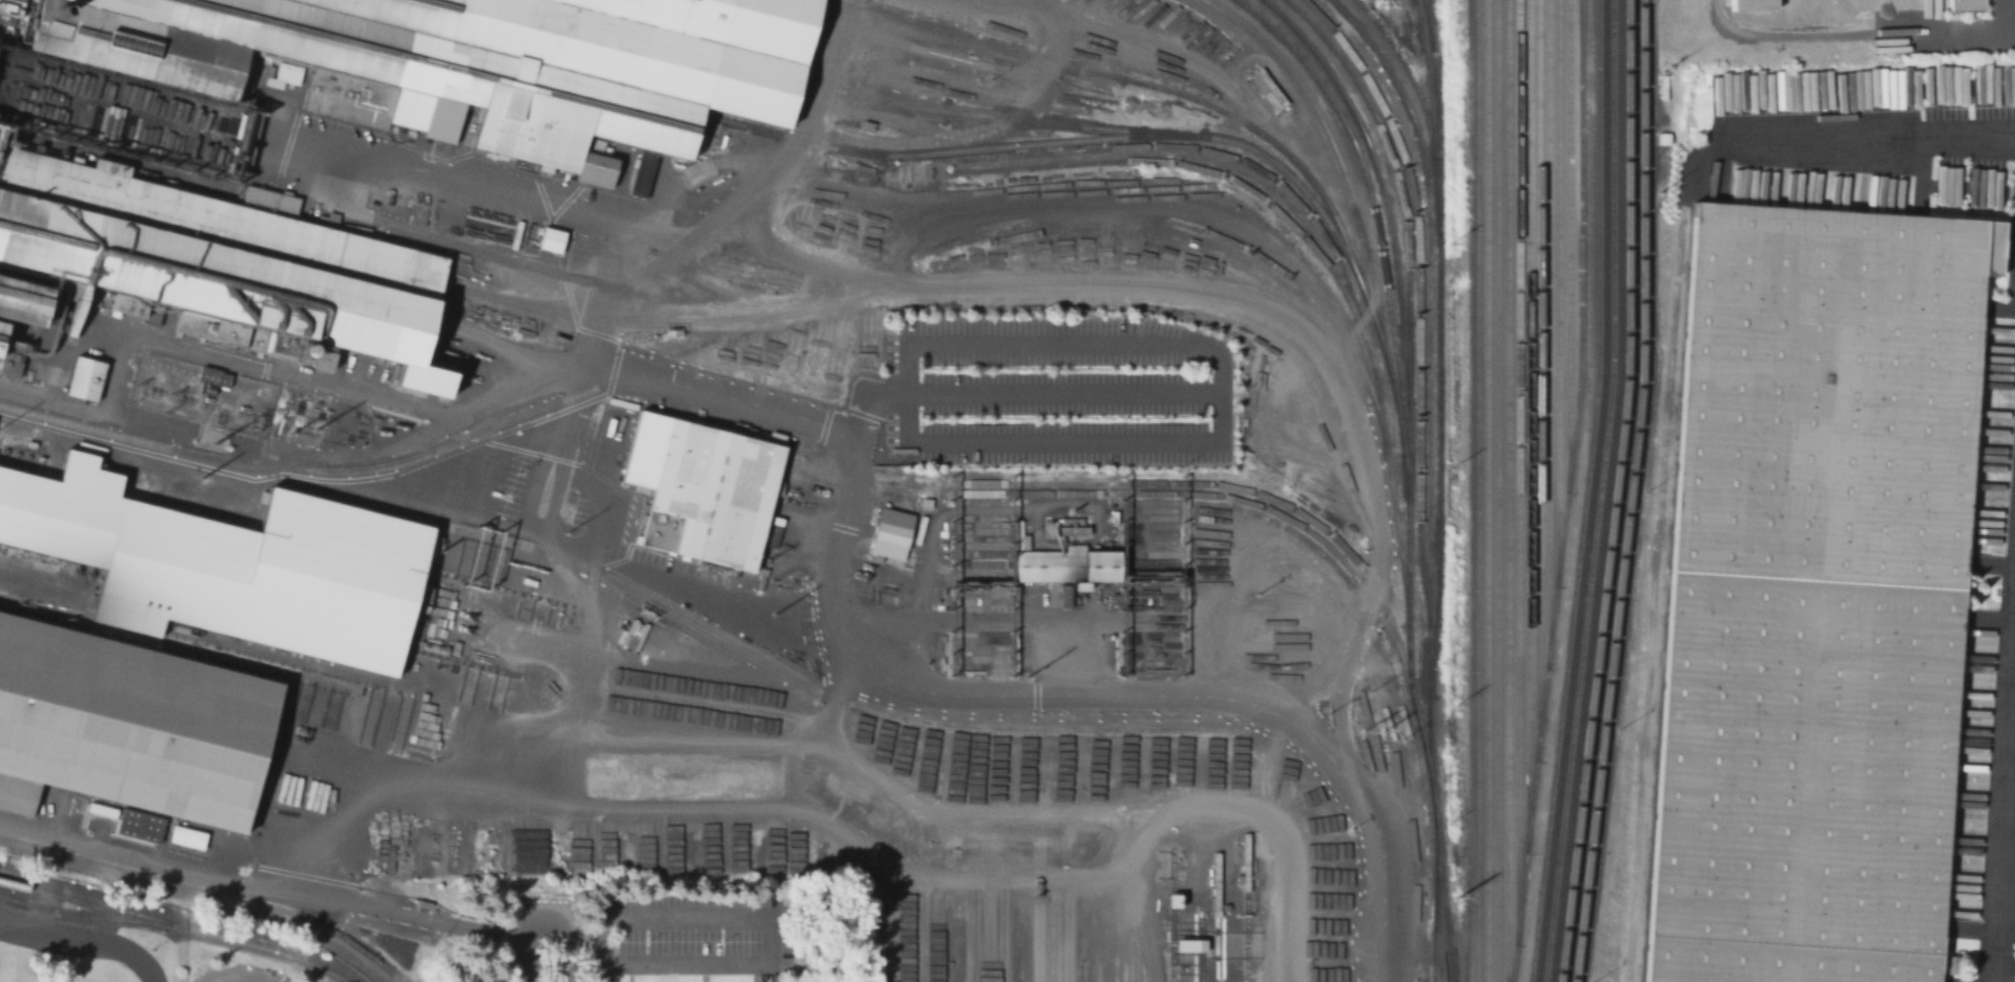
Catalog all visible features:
building: (1747, 4)
building: (1961, 6)
railway: (1426, 25)
railway: (970, 49)
building: (477, 59)
road: (978, 68)
railway: (1179, 95)
railway: (1421, 108)
building: (412, 110)
railway: (964, 120)
building: (446, 122)
railway: (1115, 129)
road: (1871, 137)
railway: (841, 151)
building: (641, 174)
railway: (1216, 175)
road: (758, 179)
railway: (1378, 182)
road: (483, 189)
road: (1027, 210)
railway: (1373, 221)
railway: (1358, 232)
railway: (1319, 233)
building: (553, 242)
railway: (1568, 245)
railway: (1211, 251)
building: (218, 259)
road: (816, 263)
railway: (1190, 275)
road: (1012, 284)
railway: (1558, 291)
railway: (826, 293)
road: (796, 294)
railway: (1419, 295)
building: (23, 303)
railway: (1549, 331)
railway: (1428, 333)
building: (4, 340)
building: (304, 350)
road: (1215, 352)
building: (322, 359)
road: (269, 368)
building: (213, 376)
railway: (1538, 378)
building: (88, 380)
parking lot: (1057, 393)
power substation: (199, 394)
railway: (1439, 402)
railway: (1530, 424)
railway: (1520, 470)
road: (283, 472)
railway: (1408, 473)
railway: (1193, 480)
railway: (1476, 490)
railway: (1488, 491)
railway: (1498, 491)
railway: (1509, 491)
railway: (1566, 492)
railway: (1584, 492)
railway: (1599, 492)
railway: (1614, 492)
railway: (1628, 492)
building: (707, 493)
railway: (1248, 498)
building: (893, 532)
building: (222, 565)
road: (30, 577)
railway: (623, 588)
building: (1810, 594)
building: (633, 634)
railway: (714, 648)
railway: (1398, 654)
road: (976, 691)
road: (574, 699)
road: (823, 721)
building: (131, 724)
road: (1081, 812)
building: (138, 825)
building: (186, 836)
road: (1141, 844)
road: (893, 868)
road: (271, 887)
railway: (206, 890)
railway: (57, 892)
road: (1283, 893)
railway: (1432, 898)
railway: (195, 899)
railway: (82, 915)
railway: (29, 916)
railway: (56, 917)
road: (764, 921)
railway: (173, 927)
road: (2012, 937)
road: (85, 942)
building: (1189, 944)
road: (563, 950)
road: (1150, 950)
road: (531, 951)
road: (604, 970)

